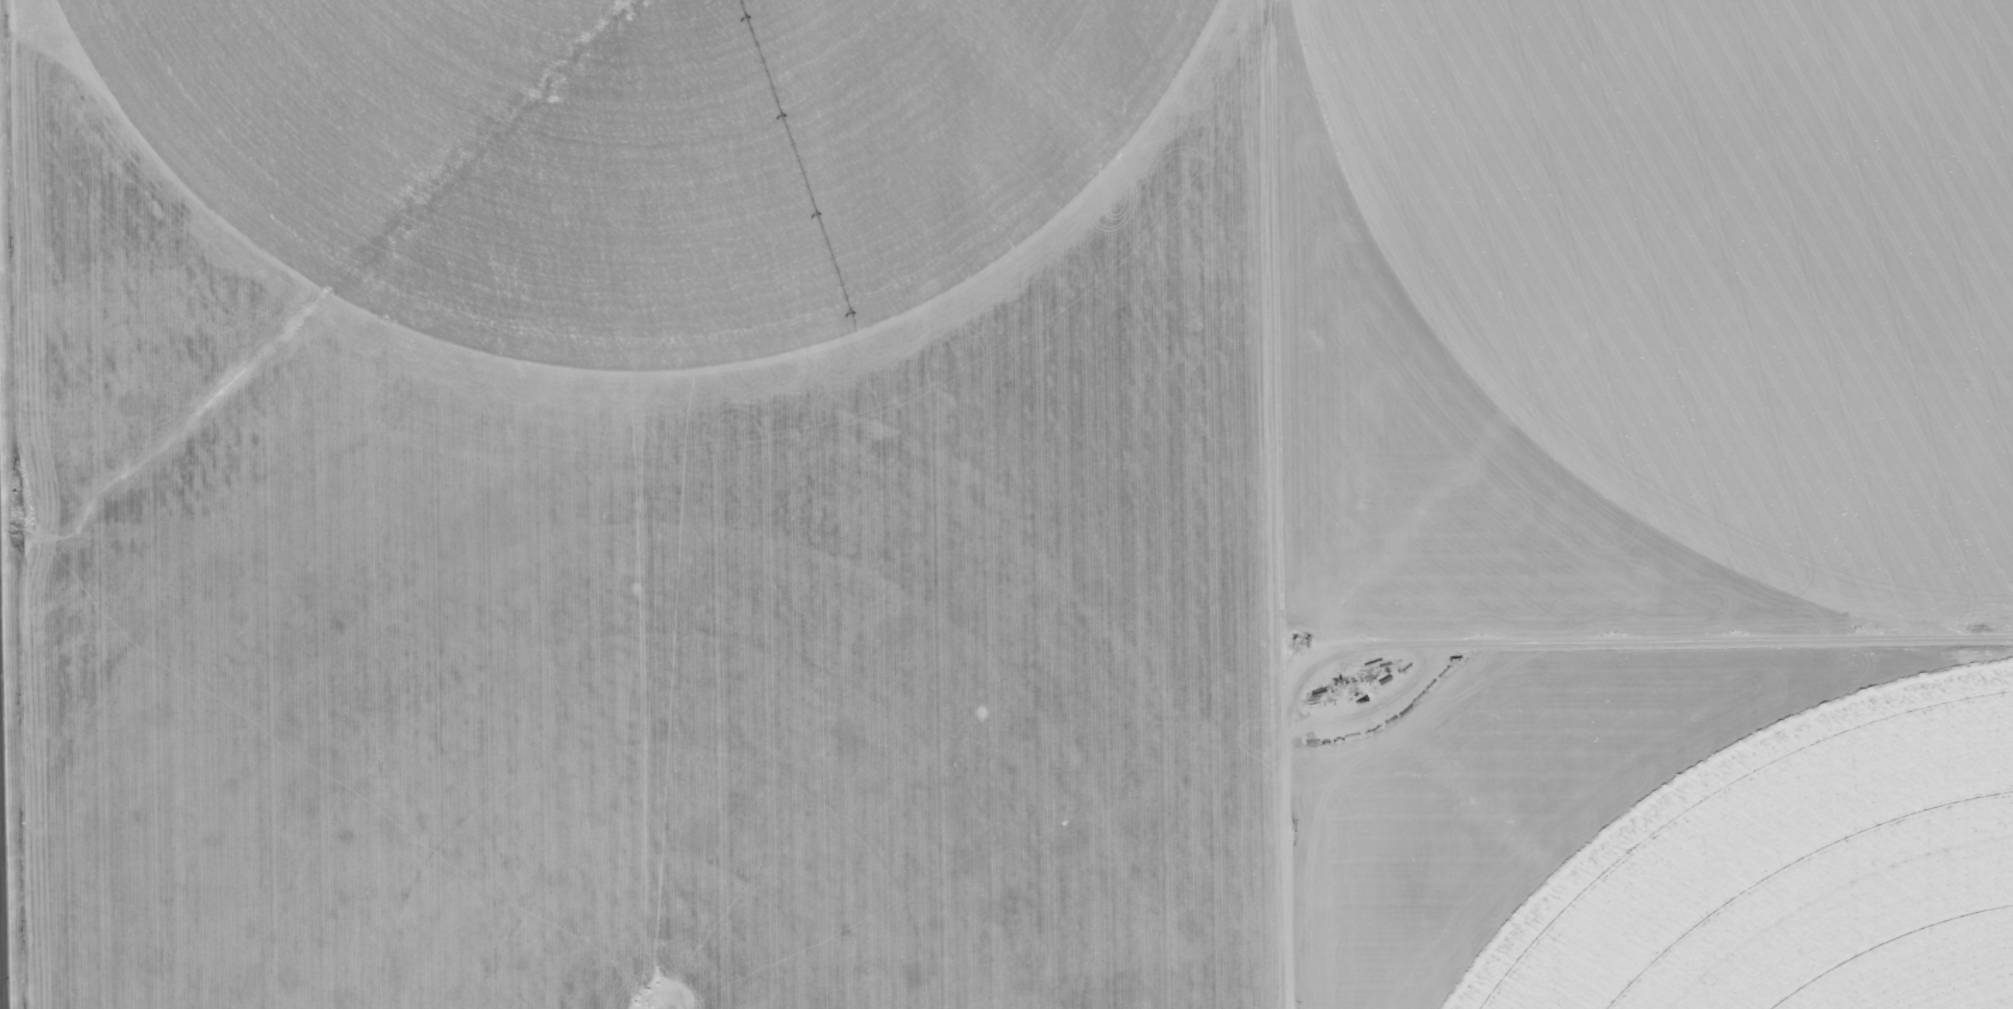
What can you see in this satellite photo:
road: (1484, 664)

